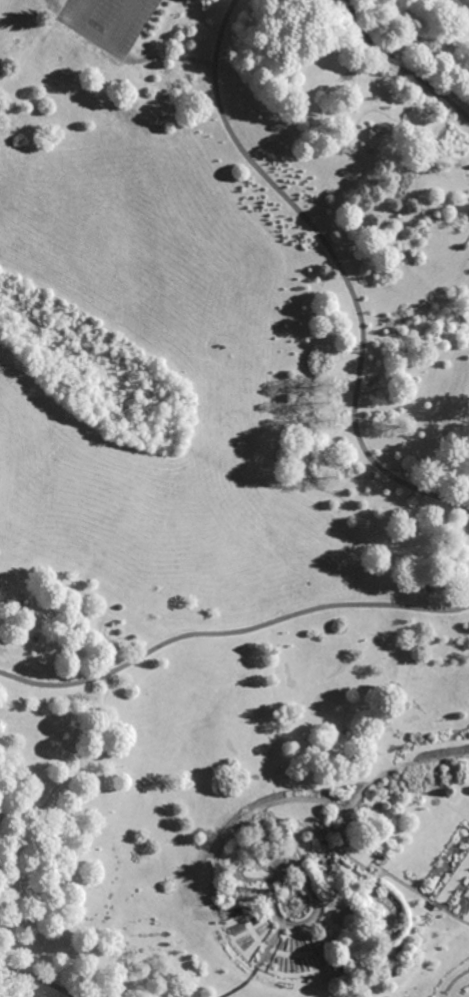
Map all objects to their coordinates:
road: (466, 2)
parking lot: (108, 21)
road: (103, 41)
road: (398, 67)
road: (301, 109)
road: (411, 121)
road: (386, 167)
road: (412, 245)
road: (338, 266)
road: (427, 324)
road: (305, 474)
park: (234, 498)
road: (62, 625)
road: (230, 633)
road: (80, 764)
road: (391, 770)
road: (255, 810)
building: (334, 839)
road: (348, 847)
road: (328, 849)
road: (369, 864)
road: (377, 867)
road: (302, 898)
road: (425, 898)
road: (312, 921)
road: (340, 926)
road: (377, 931)
road: (271, 941)
road: (313, 949)
building: (327, 959)
road: (39, 978)

